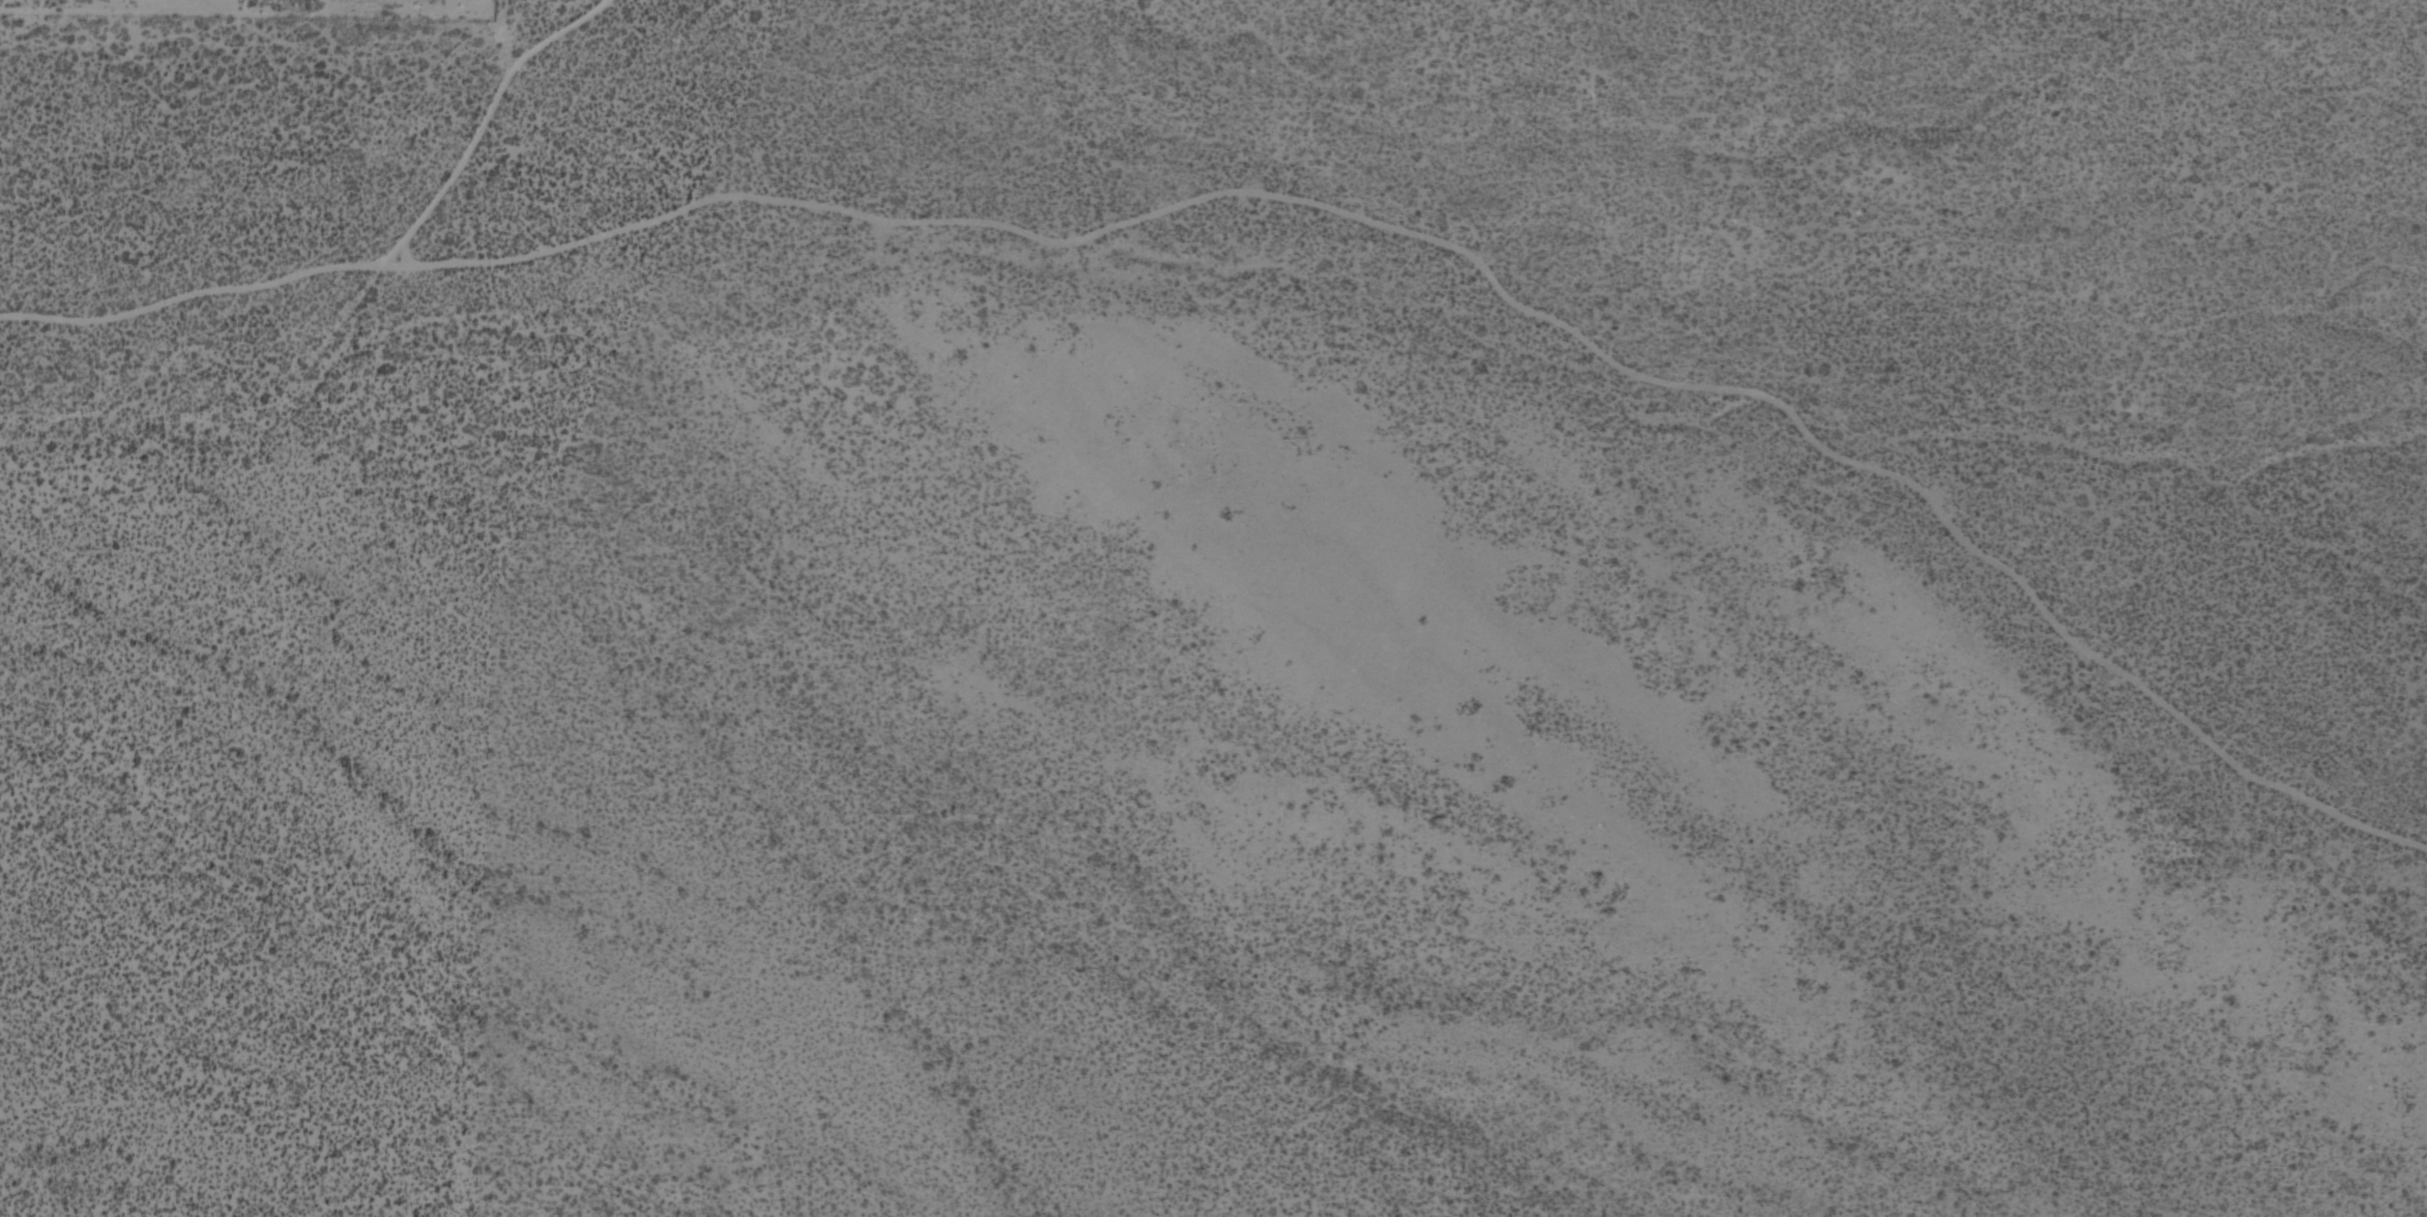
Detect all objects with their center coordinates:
road: (240, 12)
road: (487, 120)
road: (1298, 209)

